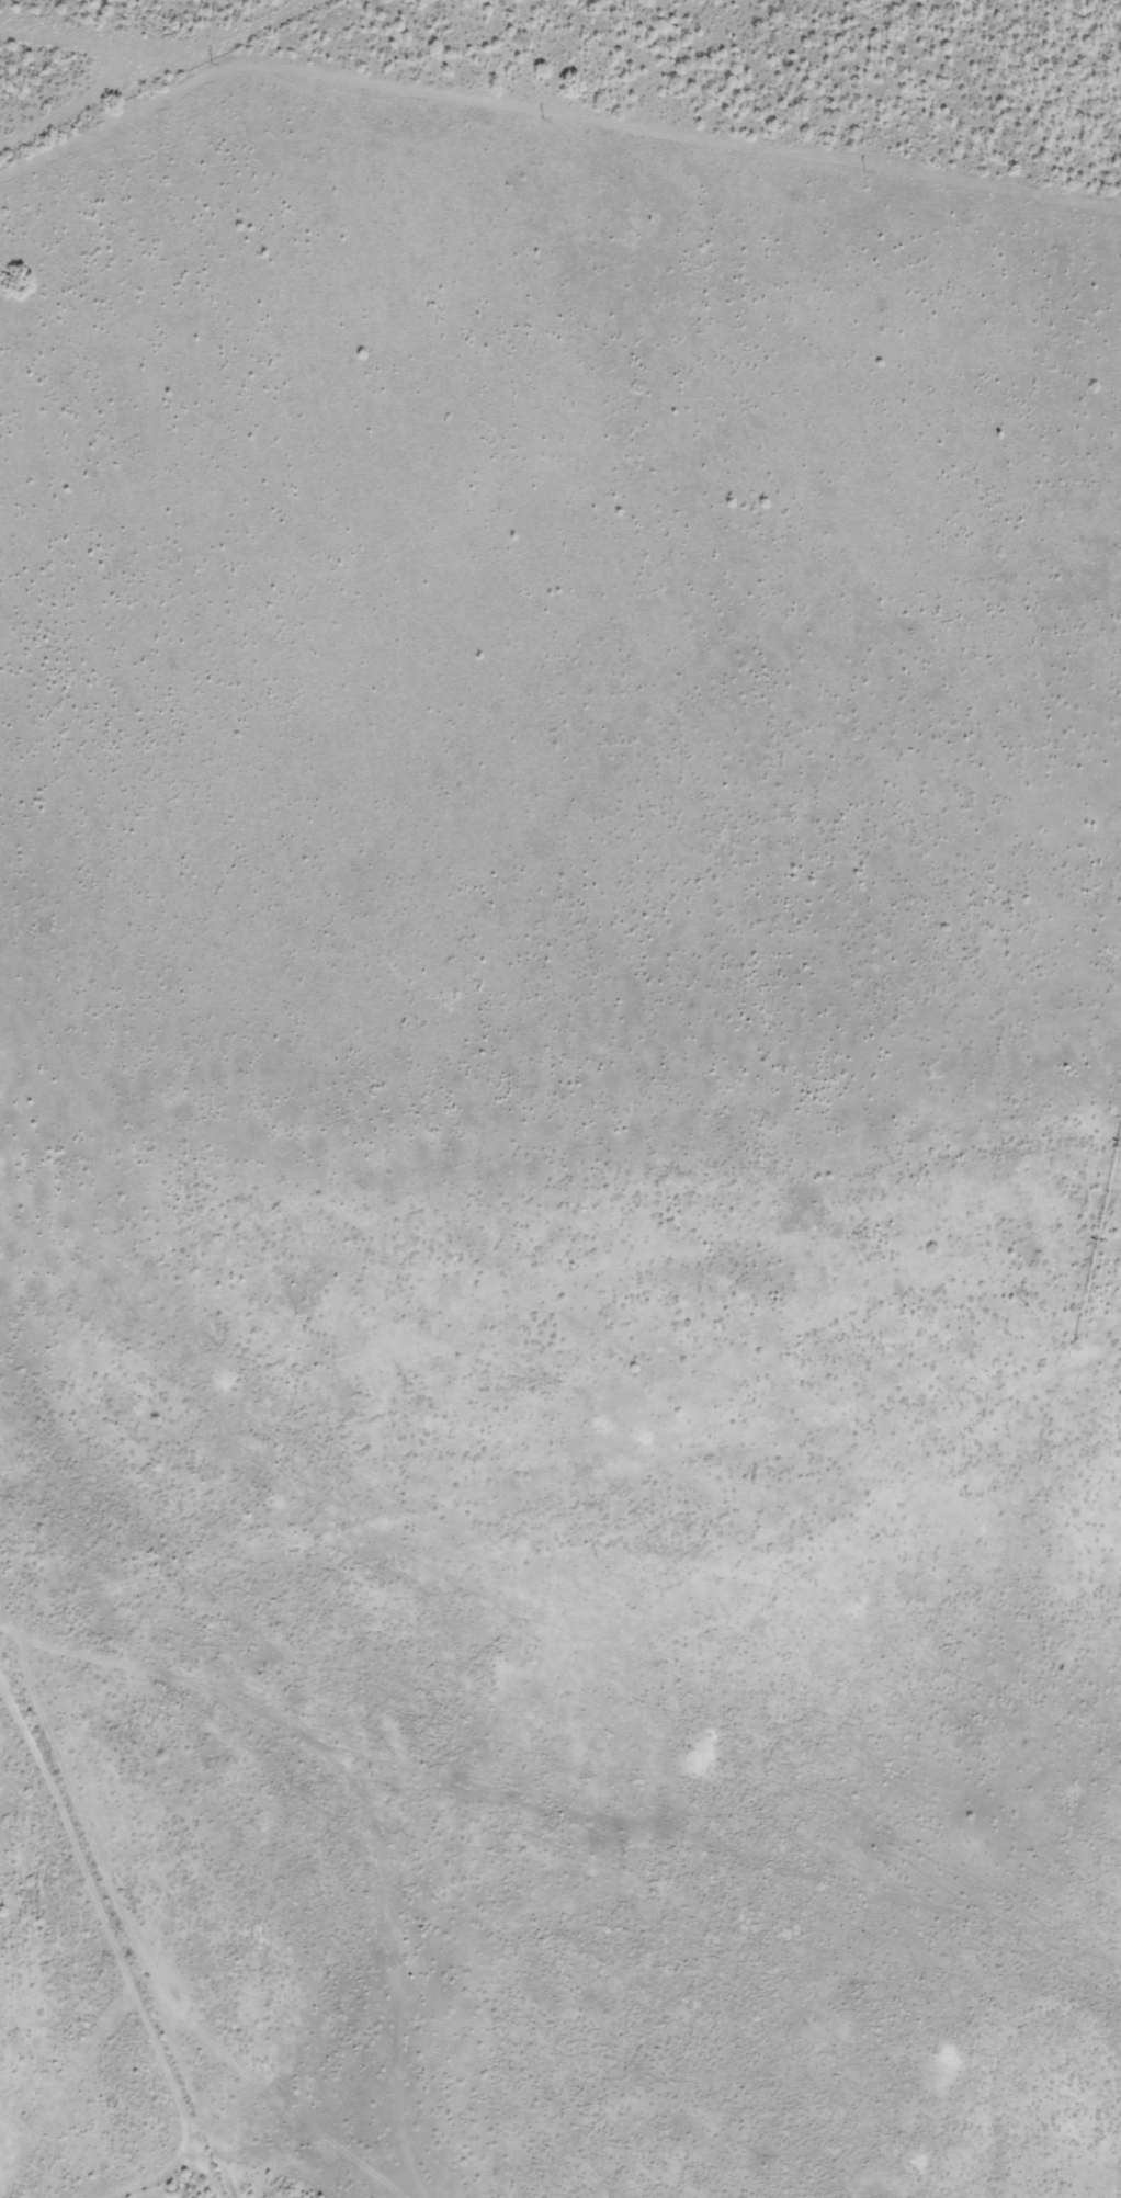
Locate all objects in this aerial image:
power tower: (208, 64)
power tower: (541, 120)
power tower: (862, 173)
road: (488, 1663)

